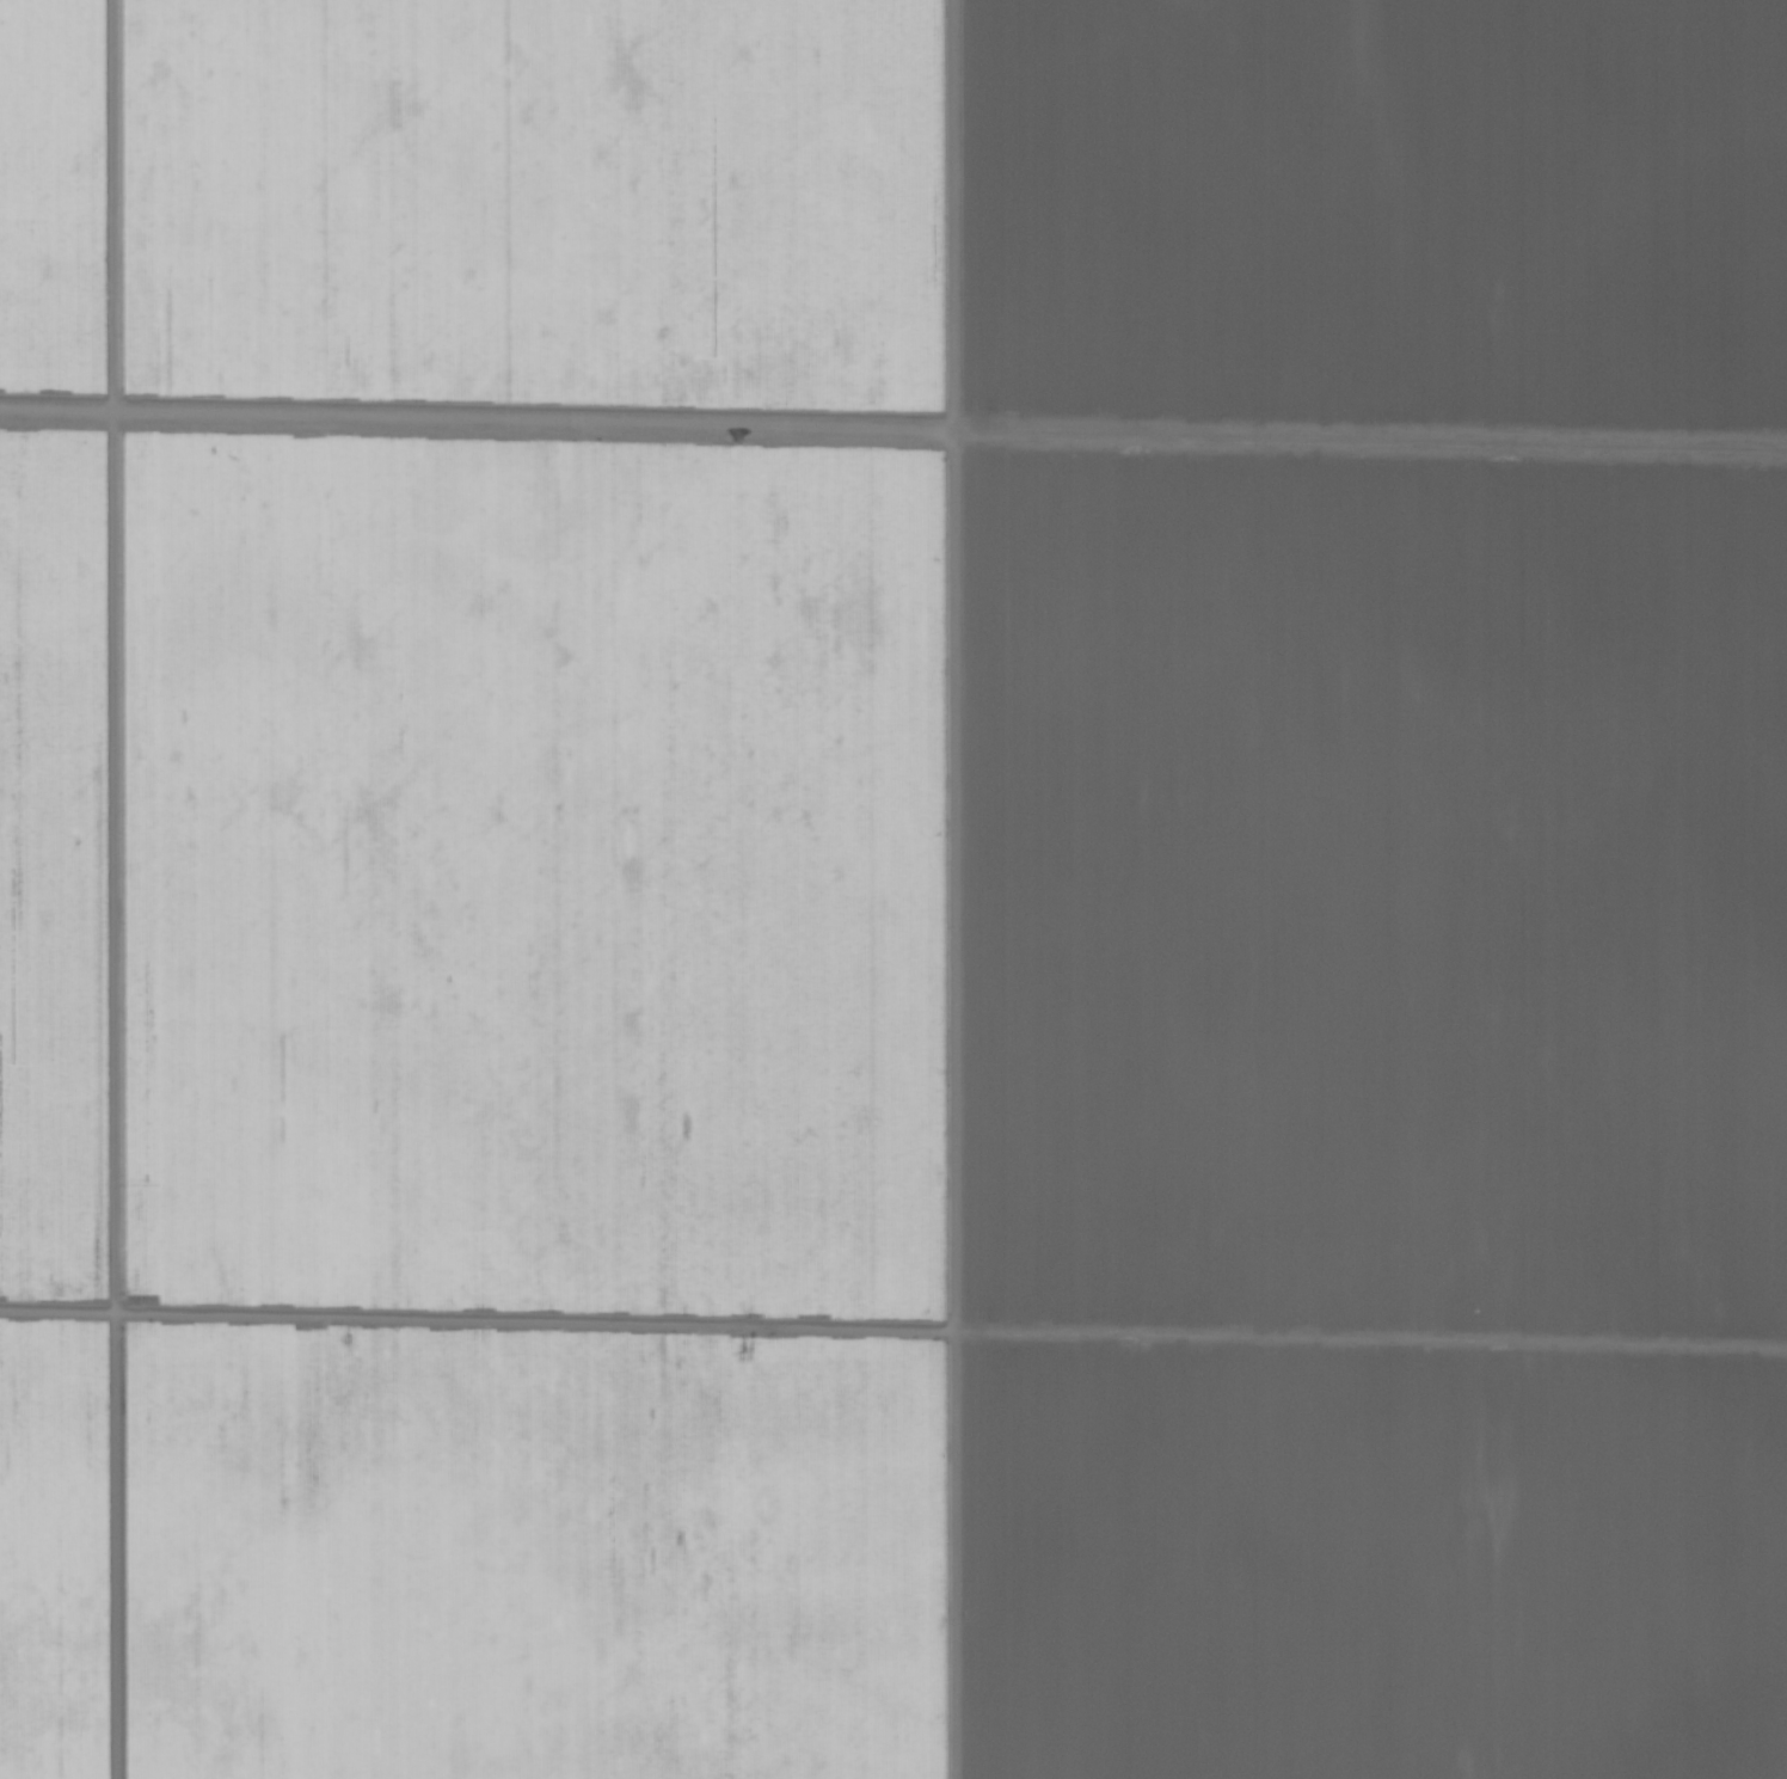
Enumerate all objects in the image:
crop: (893, 889)
road: (931, 889)

